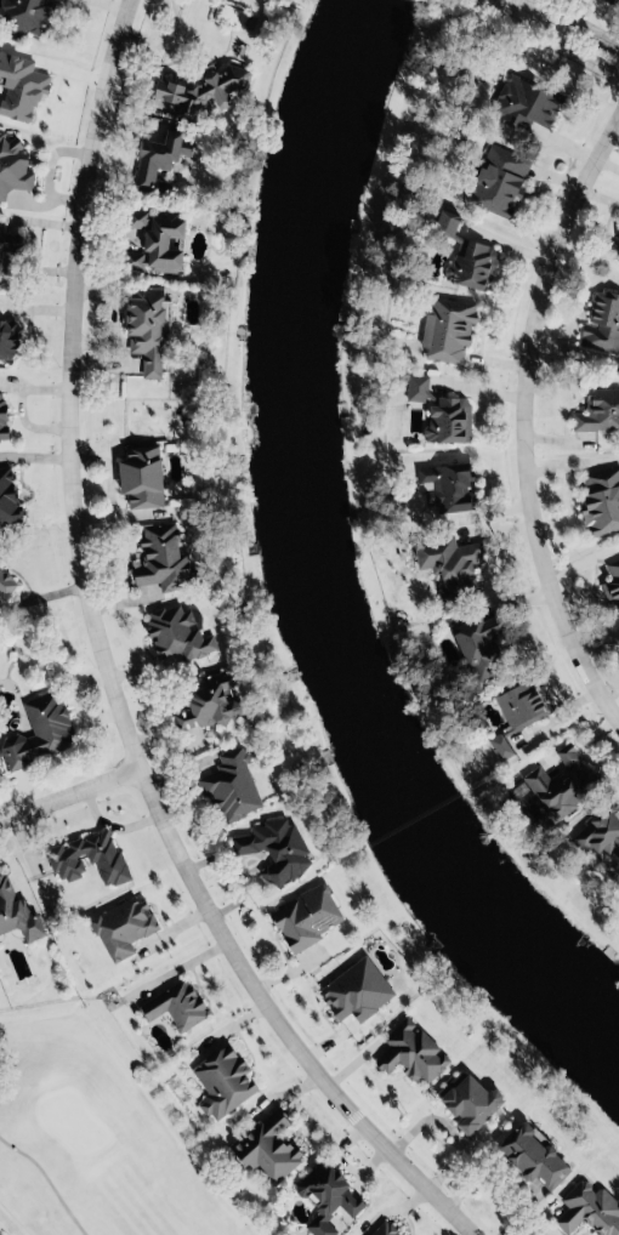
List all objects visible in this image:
building: (607, 0)
building: (611, 0)
building: (228, 15)
building: (24, 16)
road: (573, 24)
building: (18, 85)
building: (200, 86)
building: (521, 102)
building: (155, 156)
building: (12, 164)
building: (495, 182)
building: (6, 238)
building: (153, 239)
building: (617, 252)
building: (465, 256)
building: (602, 319)
building: (143, 328)
building: (444, 328)
building: (6, 337)
road: (524, 394)
building: (439, 408)
building: (597, 409)
building: (2, 416)
building: (141, 476)
building: (448, 484)
building: (5, 493)
building: (601, 497)
building: (161, 556)
building: (445, 560)
building: (4, 579)
building: (612, 585)
building: (175, 632)
building: (482, 639)
road: (117, 671)
building: (205, 701)
building: (515, 710)
building: (38, 730)
building: (558, 779)
building: (231, 785)
road: (69, 792)
building: (603, 832)
building: (274, 848)
building: (92, 853)
building: (16, 910)
building: (303, 914)
building: (120, 926)
building: (360, 995)
building: (175, 1004)
building: (418, 1055)
building: (220, 1080)
building: (466, 1099)
building: (272, 1149)
building: (529, 1154)
road: (47, 1182)
building: (328, 1193)
building: (589, 1208)
building: (384, 1229)

